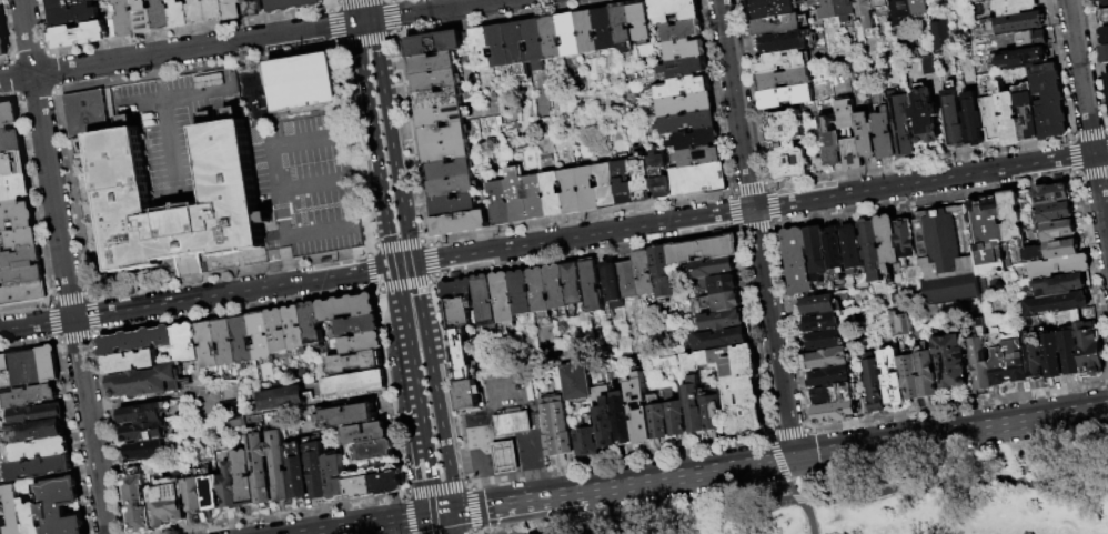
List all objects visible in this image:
road: (354, 1)
road: (393, 1)
building: (0, 2)
road: (335, 2)
building: (919, 2)
building: (1104, 2)
building: (68, 3)
building: (882, 3)
building: (292, 4)
road: (334, 6)
building: (1011, 6)
building: (253, 8)
building: (770, 8)
building: (846, 8)
building: (215, 9)
building: (233, 9)
building: (830, 9)
road: (369, 10)
road: (433, 10)
building: (675, 10)
building: (198, 11)
road: (351, 11)
building: (901, 11)
building: (867, 12)
building: (180, 13)
building: (162, 14)
building: (74, 16)
building: (143, 17)
road: (394, 17)
building: (1106, 17)
building: (127, 18)
traffic signals: (371, 20)
road: (362, 21)
building: (1015, 21)
building: (631, 22)
traffic signals: (353, 23)
building: (778, 26)
road: (334, 28)
road: (9, 29)
building: (606, 29)
building: (683, 31)
road: (298, 32)
building: (587, 32)
building: (81, 34)
building: (570, 34)
building: (939, 36)
building: (1105, 36)
building: (3, 38)
road: (394, 38)
building: (552, 38)
building: (1027, 38)
building: (535, 42)
building: (785, 42)
building: (434, 43)
road: (367, 44)
road: (338, 47)
building: (498, 47)
building: (517, 49)
building: (684, 49)
building: (481, 50)
road: (52, 52)
road: (32, 54)
building: (1105, 54)
building: (1018, 57)
road: (12, 59)
building: (794, 59)
road: (121, 60)
building: (927, 64)
road: (1097, 64)
building: (685, 67)
road: (199, 69)
road: (57, 71)
building: (433, 72)
road: (362, 74)
road: (16, 78)
building: (785, 79)
building: (1106, 80)
building: (303, 82)
road: (159, 83)
building: (682, 88)
road: (59, 91)
road: (39, 94)
road: (178, 94)
road: (19, 97)
building: (789, 97)
building: (439, 98)
building: (1049, 100)
building: (229, 112)
building: (1027, 112)
building: (88, 113)
building: (686, 113)
building: (443, 114)
building: (9, 115)
building: (926, 117)
building: (1009, 117)
building: (955, 119)
building: (991, 119)
road: (1088, 119)
building: (974, 120)
building: (903, 127)
road: (1105, 129)
road: (1089, 131)
building: (444, 133)
building: (850, 134)
building: (886, 134)
building: (867, 137)
road: (1071, 138)
building: (695, 139)
building: (10, 140)
road: (411, 140)
road: (390, 142)
building: (788, 144)
building: (832, 144)
road: (356, 145)
building: (446, 151)
road: (172, 153)
road: (273, 153)
road: (374, 154)
building: (698, 157)
road: (1071, 157)
building: (13, 164)
road: (921, 164)
building: (226, 169)
building: (450, 169)
building: (659, 175)
road: (347, 177)
road: (1095, 177)
road: (1076, 178)
building: (698, 179)
building: (643, 181)
building: (624, 182)
road: (313, 184)
building: (607, 185)
road: (772, 185)
building: (453, 187)
road: (751, 187)
building: (14, 188)
building: (588, 189)
building: (572, 192)
road: (732, 192)
road: (73, 193)
building: (1049, 193)
building: (552, 195)
road: (38, 197)
building: (524, 197)
road: (927, 200)
building: (500, 203)
building: (454, 205)
road: (777, 205)
road: (758, 208)
building: (1051, 211)
road: (734, 213)
building: (17, 215)
building: (1013, 216)
road: (581, 219)
road: (385, 224)
building: (462, 224)
road: (777, 226)
road: (320, 228)
road: (756, 229)
building: (1054, 229)
road: (757, 230)
road: (741, 232)
building: (990, 236)
building: (20, 239)
road: (429, 241)
building: (889, 242)
building: (907, 242)
road: (401, 244)
road: (371, 249)
building: (704, 249)
building: (853, 249)
building: (872, 249)
building: (1050, 249)
building: (817, 253)
road: (587, 254)
building: (835, 254)
road: (289, 258)
building: (944, 258)
road: (188, 260)
road: (434, 261)
building: (798, 262)
traffic signals: (411, 264)
road: (402, 265)
building: (1057, 265)
building: (22, 266)
road: (64, 266)
traffic signals: (394, 266)
building: (713, 268)
road: (383, 269)
road: (372, 271)
building: (663, 273)
building: (645, 274)
road: (1092, 274)
road: (231, 275)
road: (191, 279)
building: (628, 280)
road: (436, 282)
building: (574, 284)
building: (724, 284)
building: (1054, 284)
building: (613, 285)
road: (406, 286)
building: (592, 286)
building: (557, 288)
road: (376, 290)
building: (459, 290)
building: (540, 290)
building: (22, 293)
building: (522, 293)
road: (91, 295)
road: (400, 295)
road: (70, 296)
building: (505, 299)
road: (185, 300)
road: (52, 302)
building: (723, 302)
building: (485, 303)
building: (1050, 303)
building: (820, 305)
road: (26, 308)
building: (347, 308)
road: (236, 312)
building: (460, 312)
road: (95, 316)
building: (723, 321)
road: (54, 323)
building: (313, 323)
building: (824, 323)
building: (899, 323)
building: (360, 324)
road: (793, 330)
building: (288, 331)
road: (754, 333)
road: (423, 334)
road: (97, 335)
building: (262, 336)
building: (243, 339)
building: (724, 339)
road: (78, 340)
building: (138, 341)
building: (826, 341)
road: (58, 342)
building: (187, 342)
building: (226, 342)
building: (363, 343)
building: (208, 345)
building: (1090, 350)
building: (462, 354)
building: (830, 359)
building: (983, 359)
building: (1008, 359)
building: (1052, 360)
building: (131, 362)
building: (355, 362)
building: (951, 362)
building: (1035, 362)
road: (413, 365)
building: (34, 367)
building: (6, 373)
building: (919, 375)
building: (834, 377)
building: (894, 377)
building: (147, 383)
building: (354, 383)
road: (452, 383)
building: (577, 383)
building: (876, 383)
building: (735, 384)
building: (230, 391)
road: (496, 391)
road: (393, 392)
building: (836, 394)
building: (469, 395)
building: (29, 397)
building: (279, 397)
building: (695, 405)
road: (956, 406)
building: (639, 411)
building: (713, 413)
building: (836, 413)
building: (38, 414)
building: (144, 414)
building: (675, 414)
building: (349, 415)
building: (604, 417)
building: (623, 419)
road: (470, 421)
building: (657, 421)
building: (513, 424)
road: (535, 425)
building: (557, 429)
building: (40, 431)
building: (147, 432)
road: (787, 432)
road: (442, 433)
building: (366, 434)
road: (111, 435)
road: (74, 439)
building: (587, 439)
road: (475, 444)
building: (42, 449)
building: (147, 450)
road: (847, 450)
building: (374, 451)
road: (490, 453)
building: (506, 457)
gas station: (506, 457)
road: (622, 459)
road: (777, 459)
traffic signals: (794, 459)
road: (429, 462)
building: (280, 463)
road: (507, 465)
building: (261, 466)
road: (537, 466)
building: (41, 467)
building: (318, 471)
building: (299, 472)
building: (335, 477)
building: (245, 478)
building: (389, 481)
building: (360, 484)
road: (472, 484)
building: (230, 486)
road: (490, 486)
road: (437, 487)
road: (451, 487)
building: (210, 490)
building: (194, 492)
park: (888, 497)
road: (405, 498)
road: (540, 498)
road: (832, 500)
building: (138, 502)
building: (168, 502)
road: (802, 505)
building: (61, 506)
building: (14, 508)
road: (470, 510)
road: (475, 510)
road: (295, 514)
traffic signals: (445, 514)
building: (32, 517)
road: (407, 517)
road: (426, 517)
building: (2, 518)
road: (446, 524)
road: (364, 527)
road: (476, 532)

